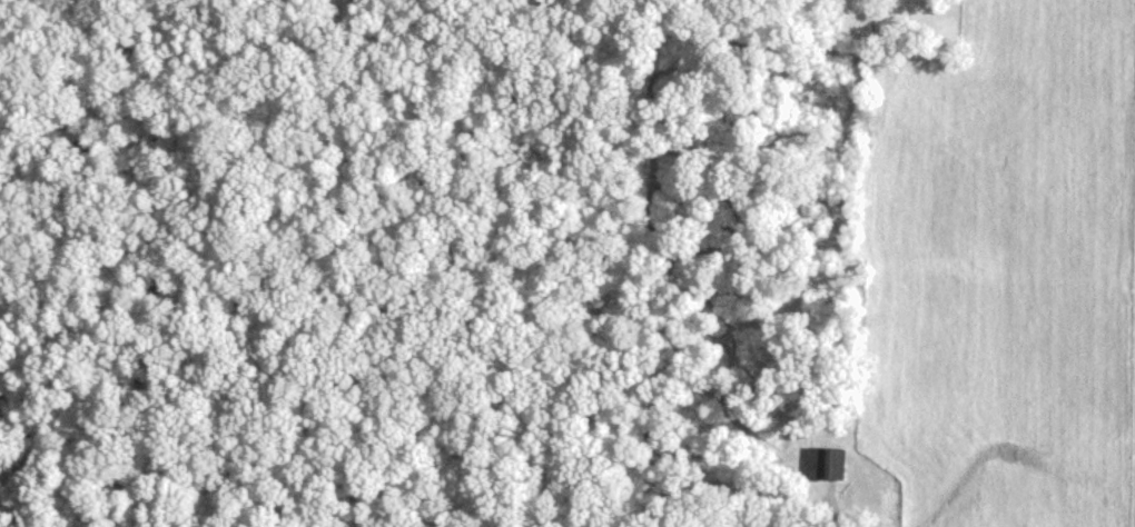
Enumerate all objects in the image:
road: (1134, 517)

